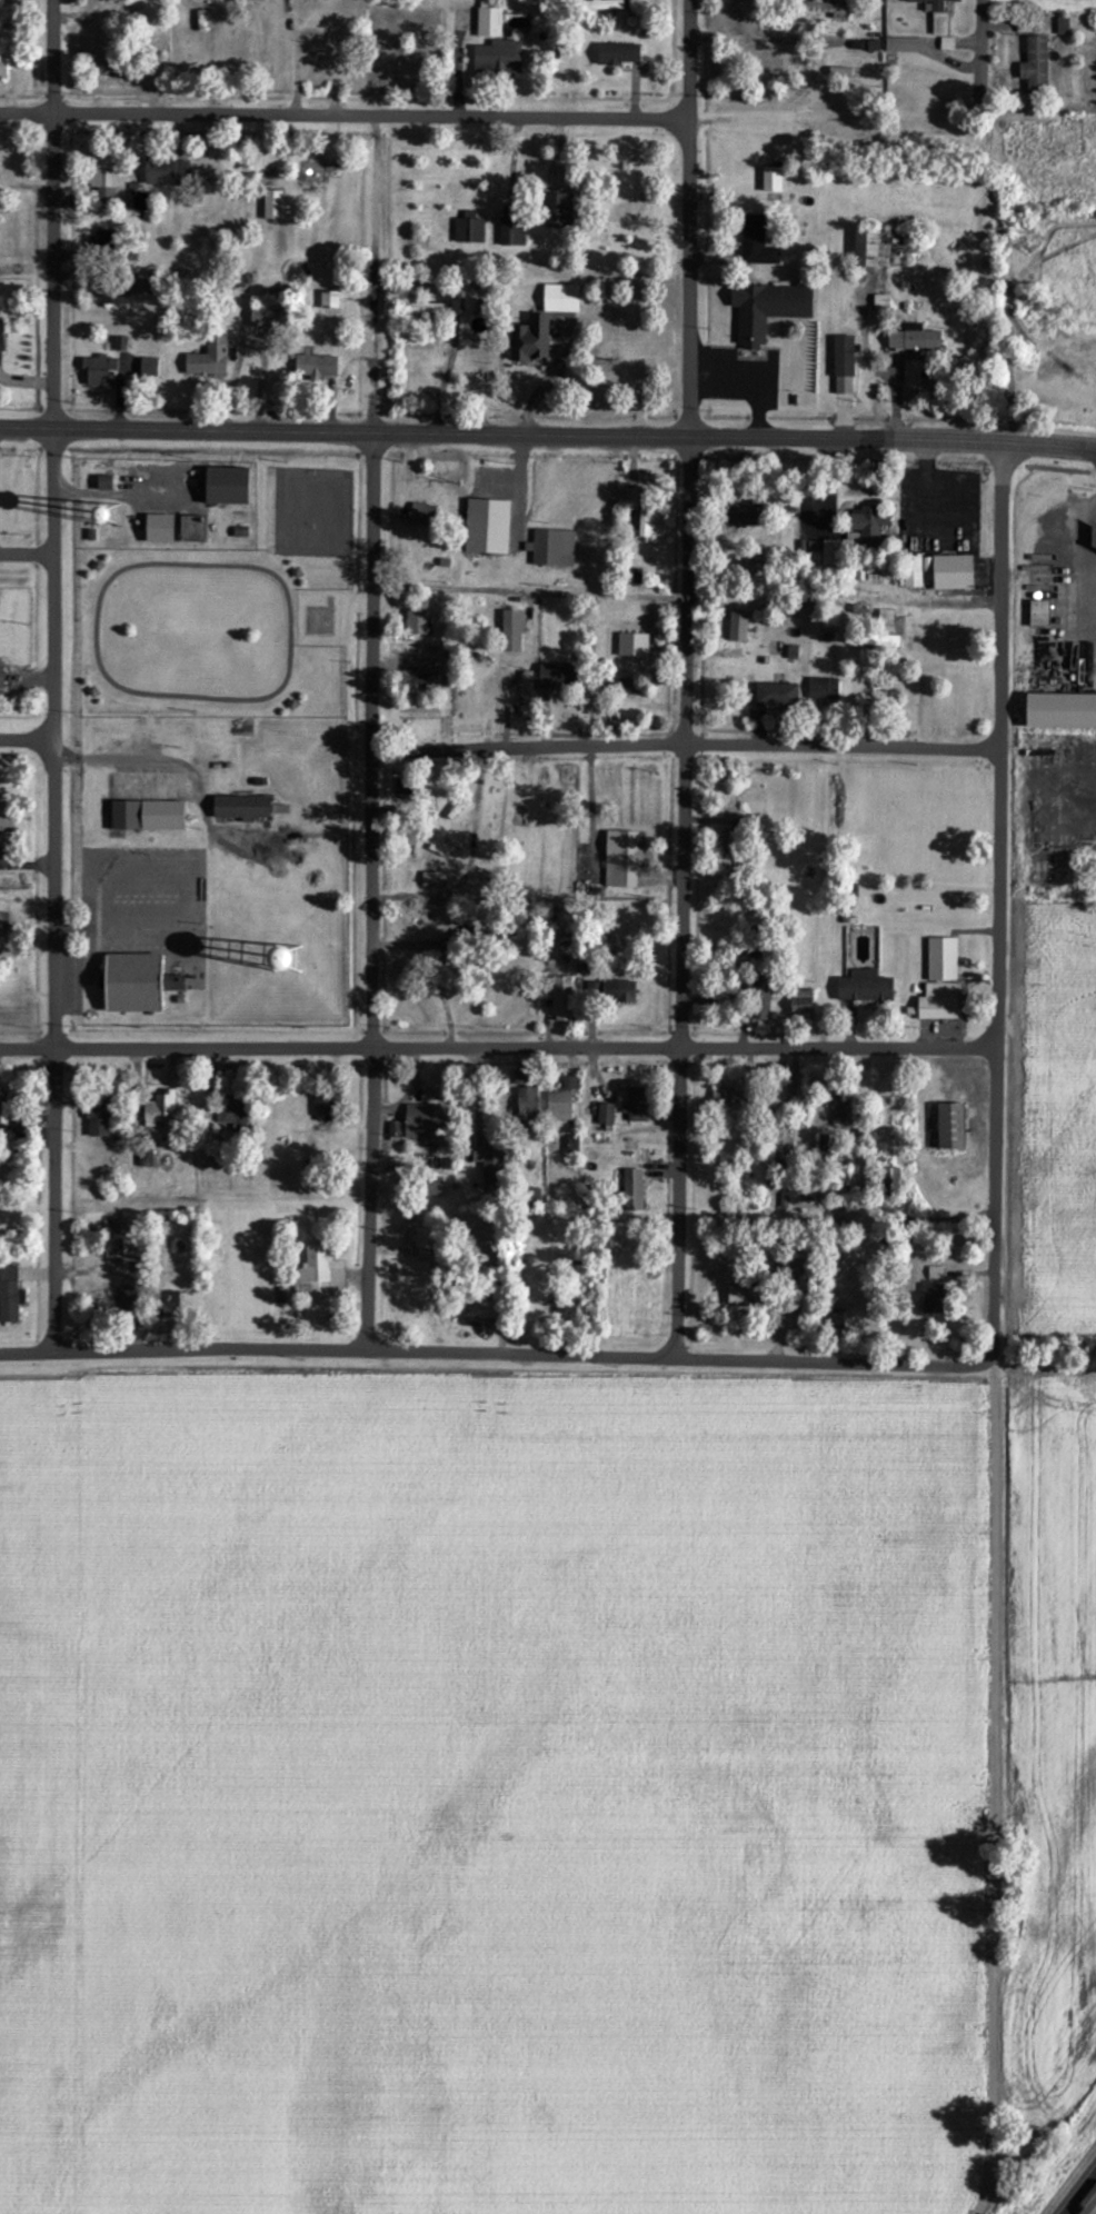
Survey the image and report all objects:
building: (935, 3)
building: (604, 6)
building: (828, 9)
building: (489, 21)
road: (944, 42)
building: (906, 46)
building: (619, 56)
building: (498, 58)
building: (1035, 66)
building: (3, 68)
building: (107, 68)
road: (1014, 80)
road: (343, 116)
building: (167, 172)
building: (773, 181)
building: (273, 206)
building: (559, 211)
building: (618, 218)
building: (512, 227)
building: (469, 230)
building: (102, 239)
building: (756, 242)
building: (866, 247)
building: (561, 299)
building: (329, 300)
building: (426, 309)
building: (767, 309)
building: (265, 317)
building: (1, 337)
building: (531, 339)
building: (914, 339)
building: (120, 343)
building: (844, 356)
building: (209, 358)
building: (317, 366)
building: (149, 367)
building: (99, 370)
road: (690, 371)
building: (844, 386)
road: (501, 433)
road: (1049, 443)
building: (227, 486)
road: (123, 491)
building: (640, 508)
water tower: (111, 512)
building: (422, 515)
building: (743, 515)
building: (869, 525)
building: (487, 527)
building: (160, 528)
building: (193, 529)
building: (552, 548)
building: (831, 552)
building: (941, 572)
road: (530, 588)
road: (373, 594)
building: (1039, 614)
building: (886, 618)
building: (417, 622)
building: (737, 627)
building: (512, 631)
building: (874, 641)
building: (632, 645)
road: (54, 675)
building: (556, 677)
building: (1, 678)
building: (627, 687)
building: (823, 690)
building: (776, 695)
building: (879, 700)
building: (1060, 711)
road: (28, 740)
road: (686, 744)
building: (242, 807)
building: (6, 816)
building: (147, 816)
road: (205, 816)
road: (600, 830)
road: (522, 839)
building: (733, 851)
building: (621, 859)
building: (434, 880)
building: (3, 922)
water tower: (288, 951)
building: (941, 960)
building: (132, 983)
building: (172, 984)
building: (865, 988)
building: (620, 991)
building: (761, 995)
building: (562, 1001)
building: (940, 1001)
building: (801, 1004)
road: (186, 1046)
road: (685, 1048)
road: (679, 1050)
road: (372, 1055)
building: (519, 1078)
building: (570, 1084)
building: (528, 1100)
building: (726, 1100)
building: (2, 1101)
building: (325, 1106)
building: (559, 1106)
building: (637, 1106)
building: (841, 1108)
building: (159, 1109)
building: (232, 1113)
building: (606, 1116)
building: (99, 1118)
crop: (1054, 1119)
building: (425, 1124)
building: (950, 1127)
building: (780, 1141)
building: (489, 1158)
building: (434, 1187)
building: (632, 1190)
building: (422, 1244)
building: (934, 1274)
building: (319, 1275)
building: (10, 1295)
building: (745, 1296)
building: (933, 1299)
building: (168, 1305)
building: (566, 1308)
building: (479, 1315)
building: (835, 1318)
road: (996, 1328)
road: (28, 1352)
road: (526, 1356)
crop: (27, 1785)
crop: (531, 1798)
road: (1080, 2193)

